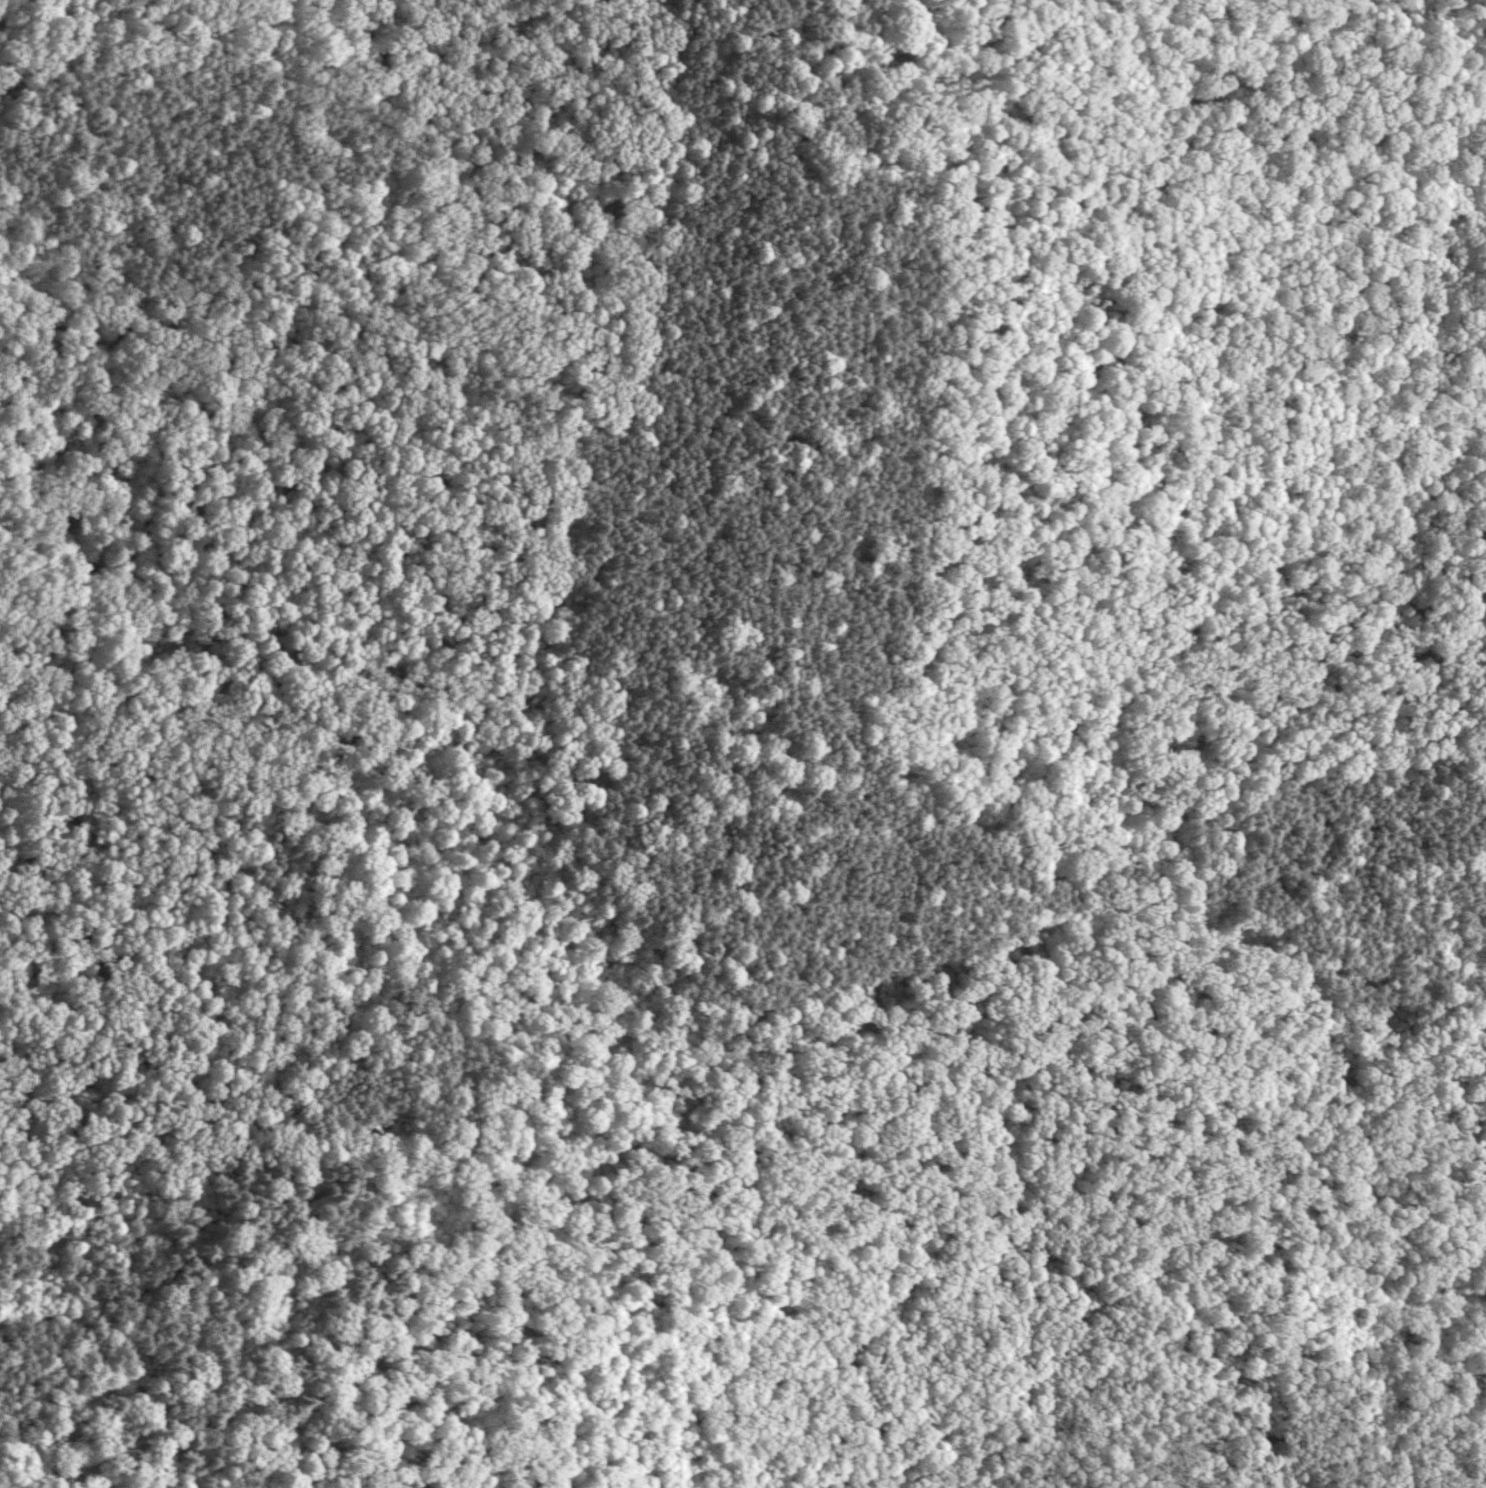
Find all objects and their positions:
road: (709, 835)

